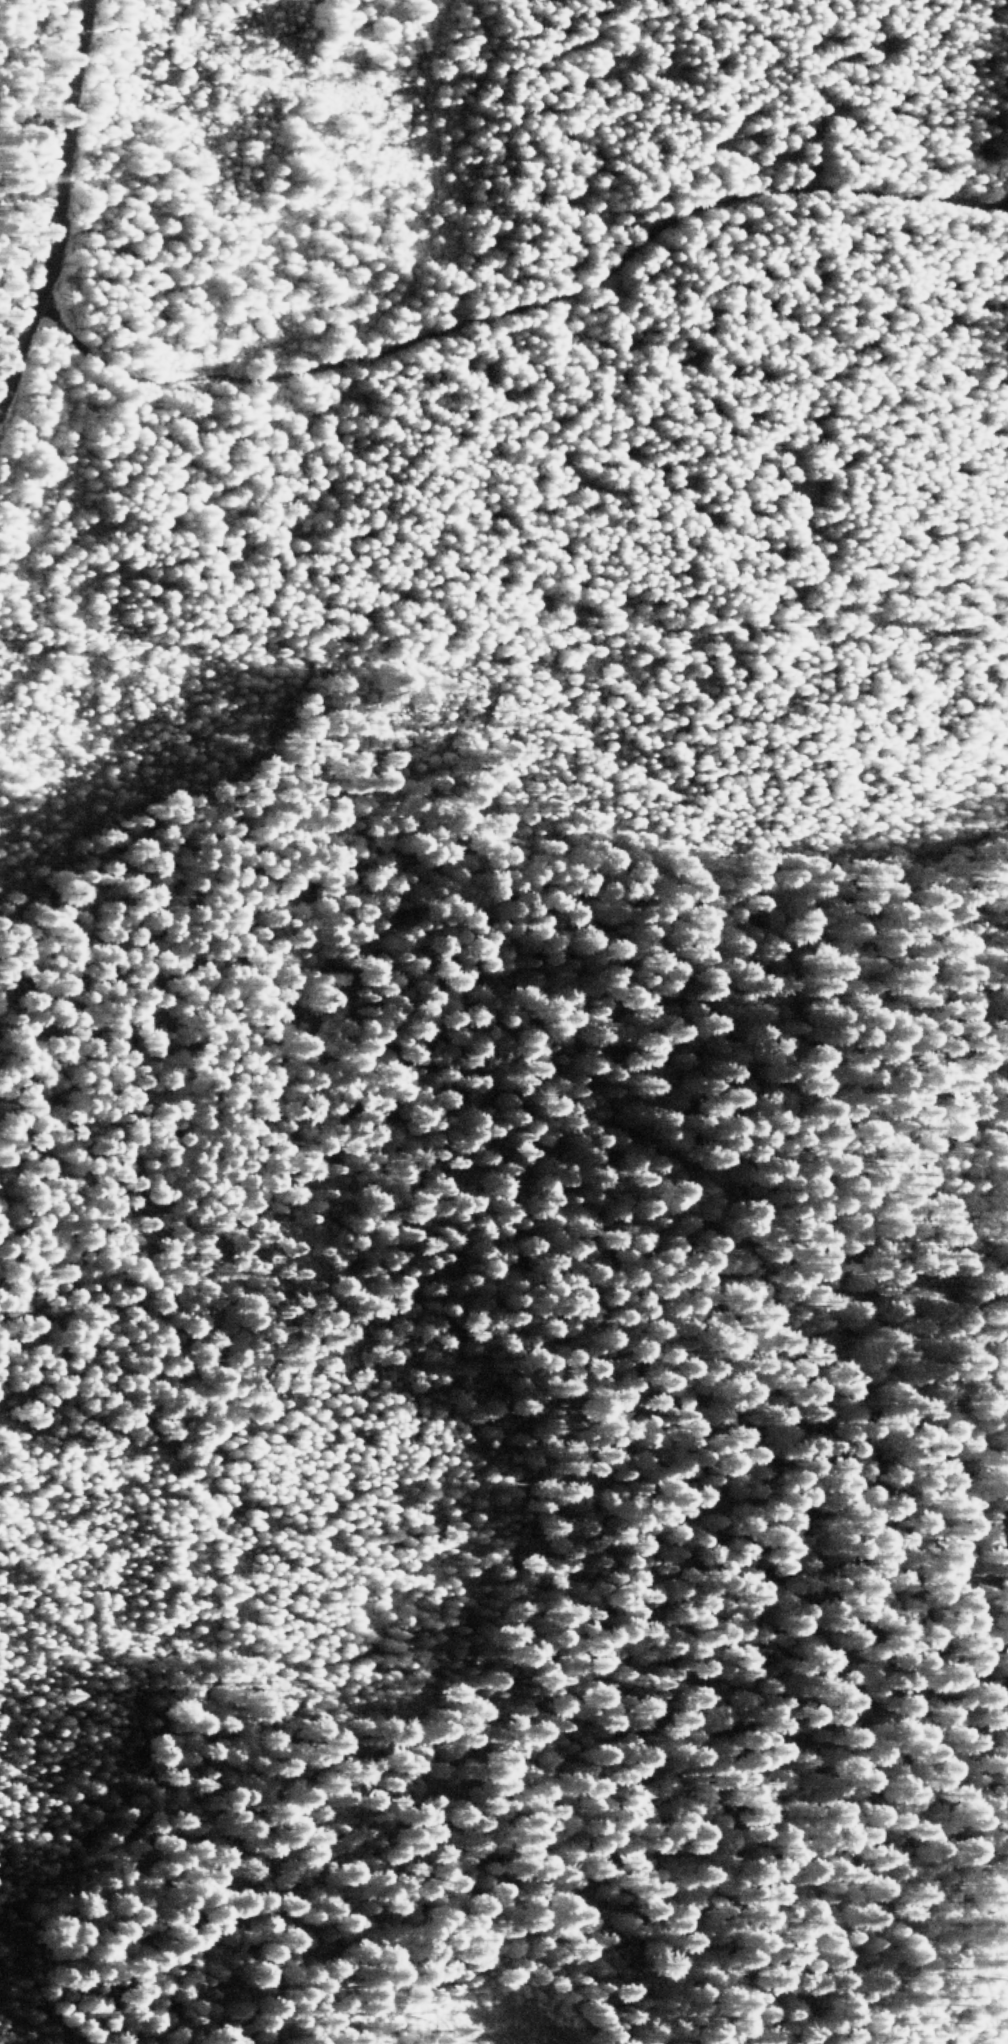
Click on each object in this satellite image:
road: (53, 201)

